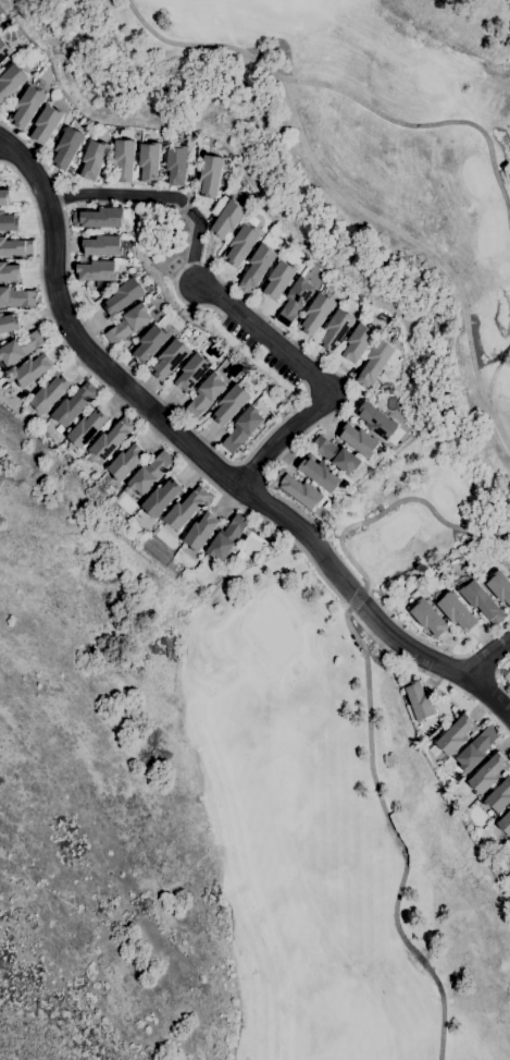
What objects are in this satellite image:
building: (4, 50)
building: (11, 81)
road: (343, 90)
building: (27, 107)
building: (46, 124)
building: (67, 147)
building: (76, 159)
building: (94, 159)
building: (123, 160)
building: (149, 161)
building: (176, 165)
building: (210, 175)
road: (114, 193)
building: (4, 197)
building: (227, 217)
building: (99, 218)
building: (8, 222)
building: (241, 245)
building: (102, 246)
road: (421, 246)
building: (15, 247)
building: (258, 268)
building: (98, 270)
building: (9, 271)
building: (279, 279)
building: (124, 296)
building: (16, 297)
building: (295, 301)
building: (316, 314)
building: (9, 324)
building: (127, 324)
building: (169, 329)
building: (336, 330)
building: (358, 342)
building: (151, 343)
building: (21, 348)
road: (285, 352)
road: (115, 358)
building: (170, 358)
building: (375, 363)
building: (33, 370)
building: (192, 371)
building: (50, 392)
building: (204, 395)
building: (74, 404)
building: (231, 404)
building: (377, 421)
road: (312, 425)
building: (87, 428)
building: (242, 428)
building: (112, 439)
building: (359, 440)
building: (336, 455)
road: (210, 459)
building: (126, 462)
building: (150, 473)
building: (320, 473)
road: (208, 479)
building: (298, 489)
building: (161, 498)
road: (395, 502)
building: (186, 509)
park: (335, 524)
building: (200, 532)
building: (227, 537)
building: (499, 587)
road: (357, 598)
building: (482, 601)
building: (456, 611)
building: (426, 614)
road: (486, 656)
road: (498, 675)
building: (419, 700)
building: (453, 736)
building: (476, 748)
building: (488, 773)
building: (499, 796)
building: (505, 824)
road: (397, 837)

